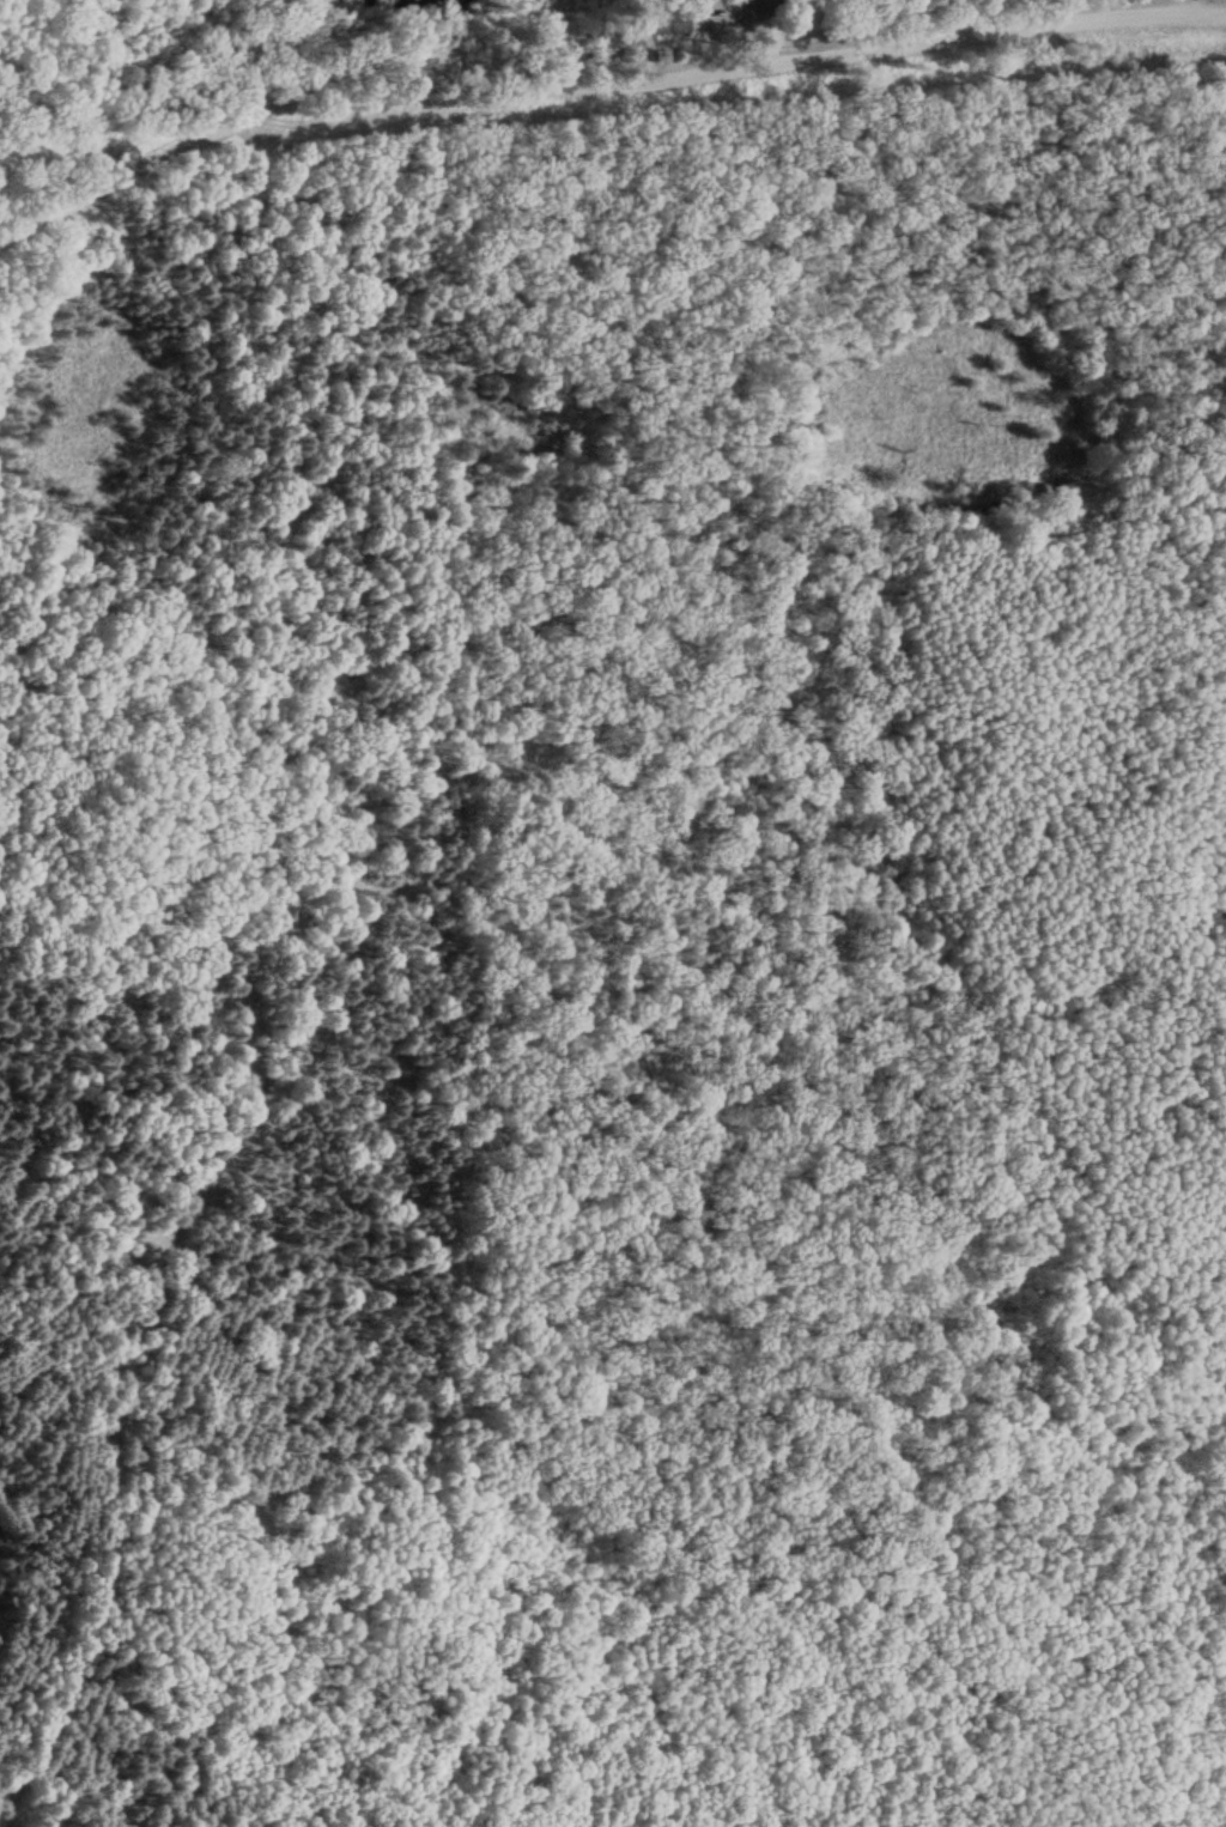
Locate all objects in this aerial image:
building: (760, 7)
building: (664, 17)
road: (594, 86)
road: (301, 999)

